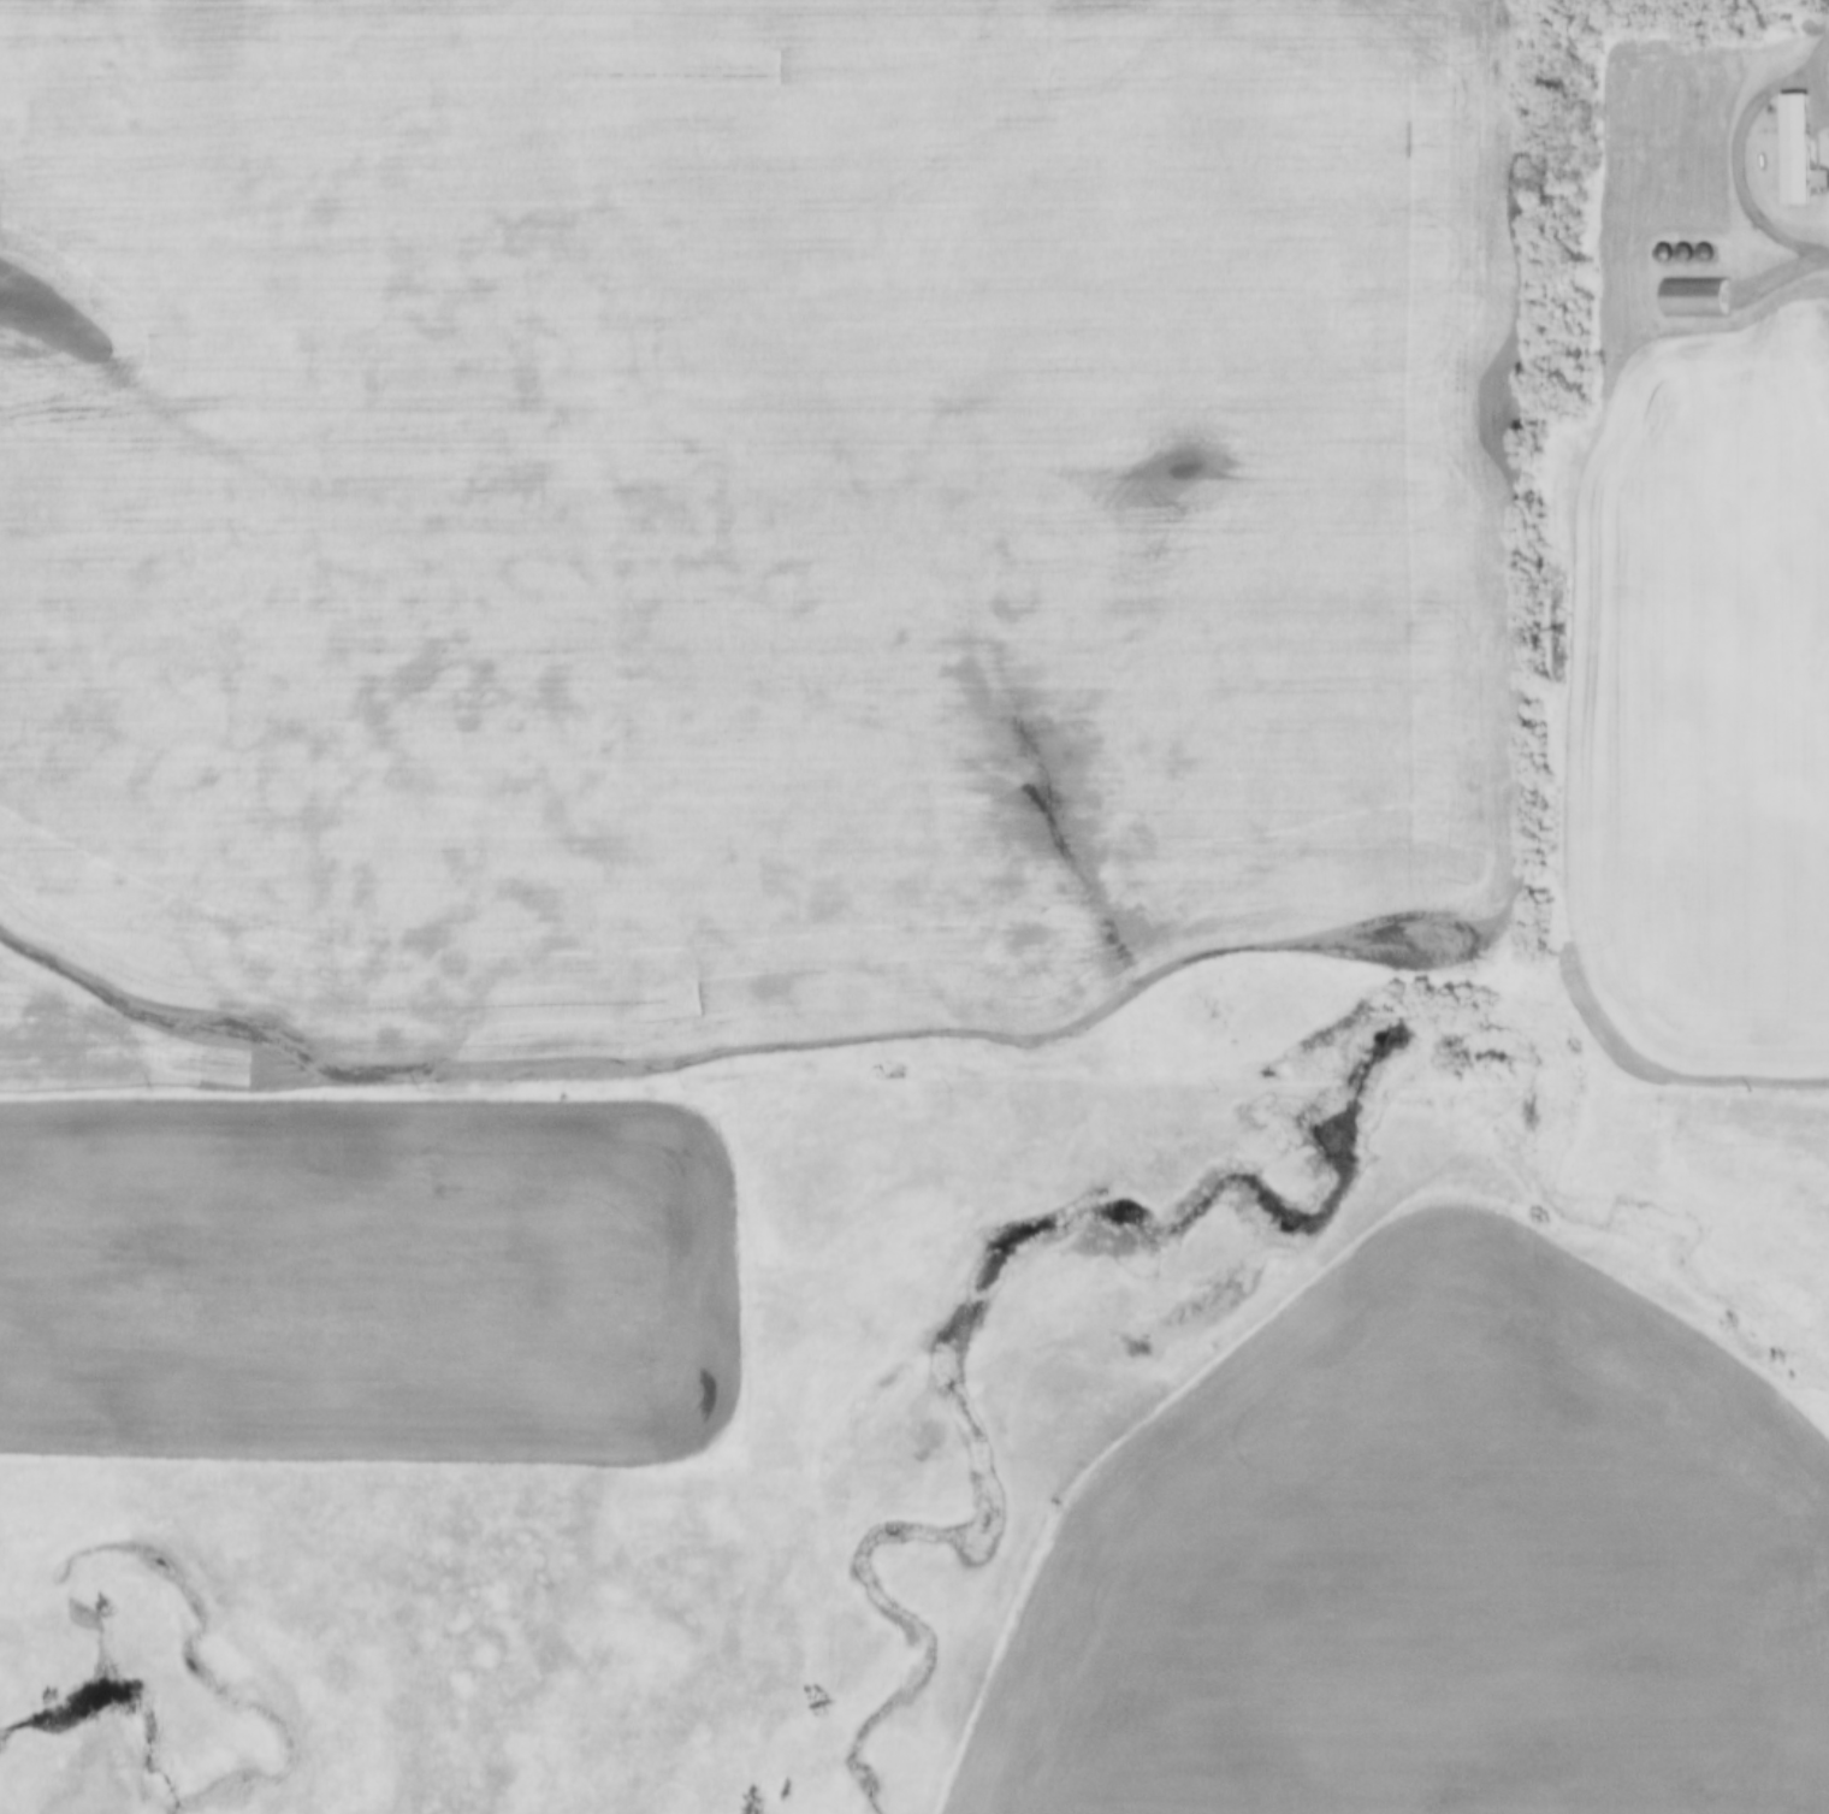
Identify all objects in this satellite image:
building: (1822, 43)
building: (1790, 149)
road: (1740, 150)
building: (1691, 297)

